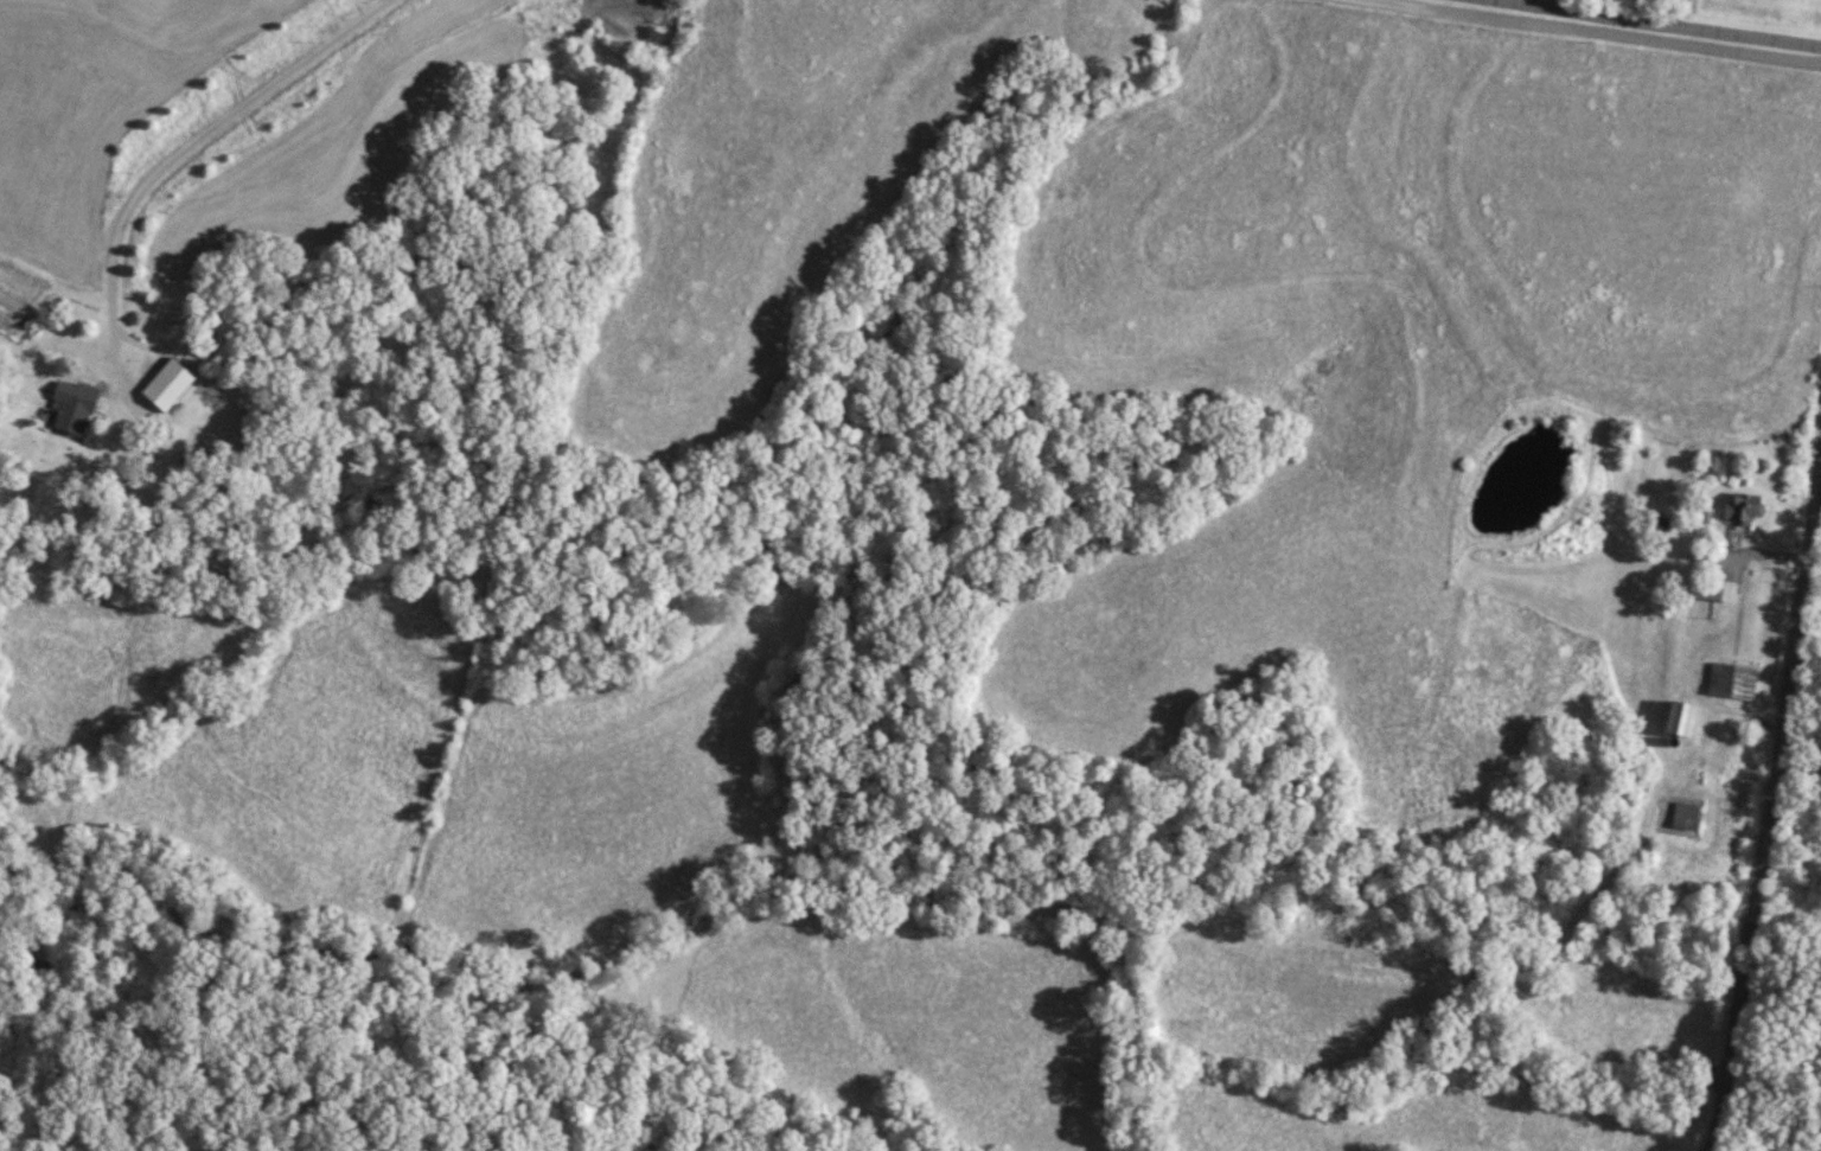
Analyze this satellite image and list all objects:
road: (1668, 23)
road: (1603, 30)
road: (179, 154)
building: (75, 407)
building: (1746, 507)
building: (1713, 590)
road: (1706, 635)
building: (1734, 680)
building: (1682, 718)
road: (1765, 794)
building: (1689, 813)

